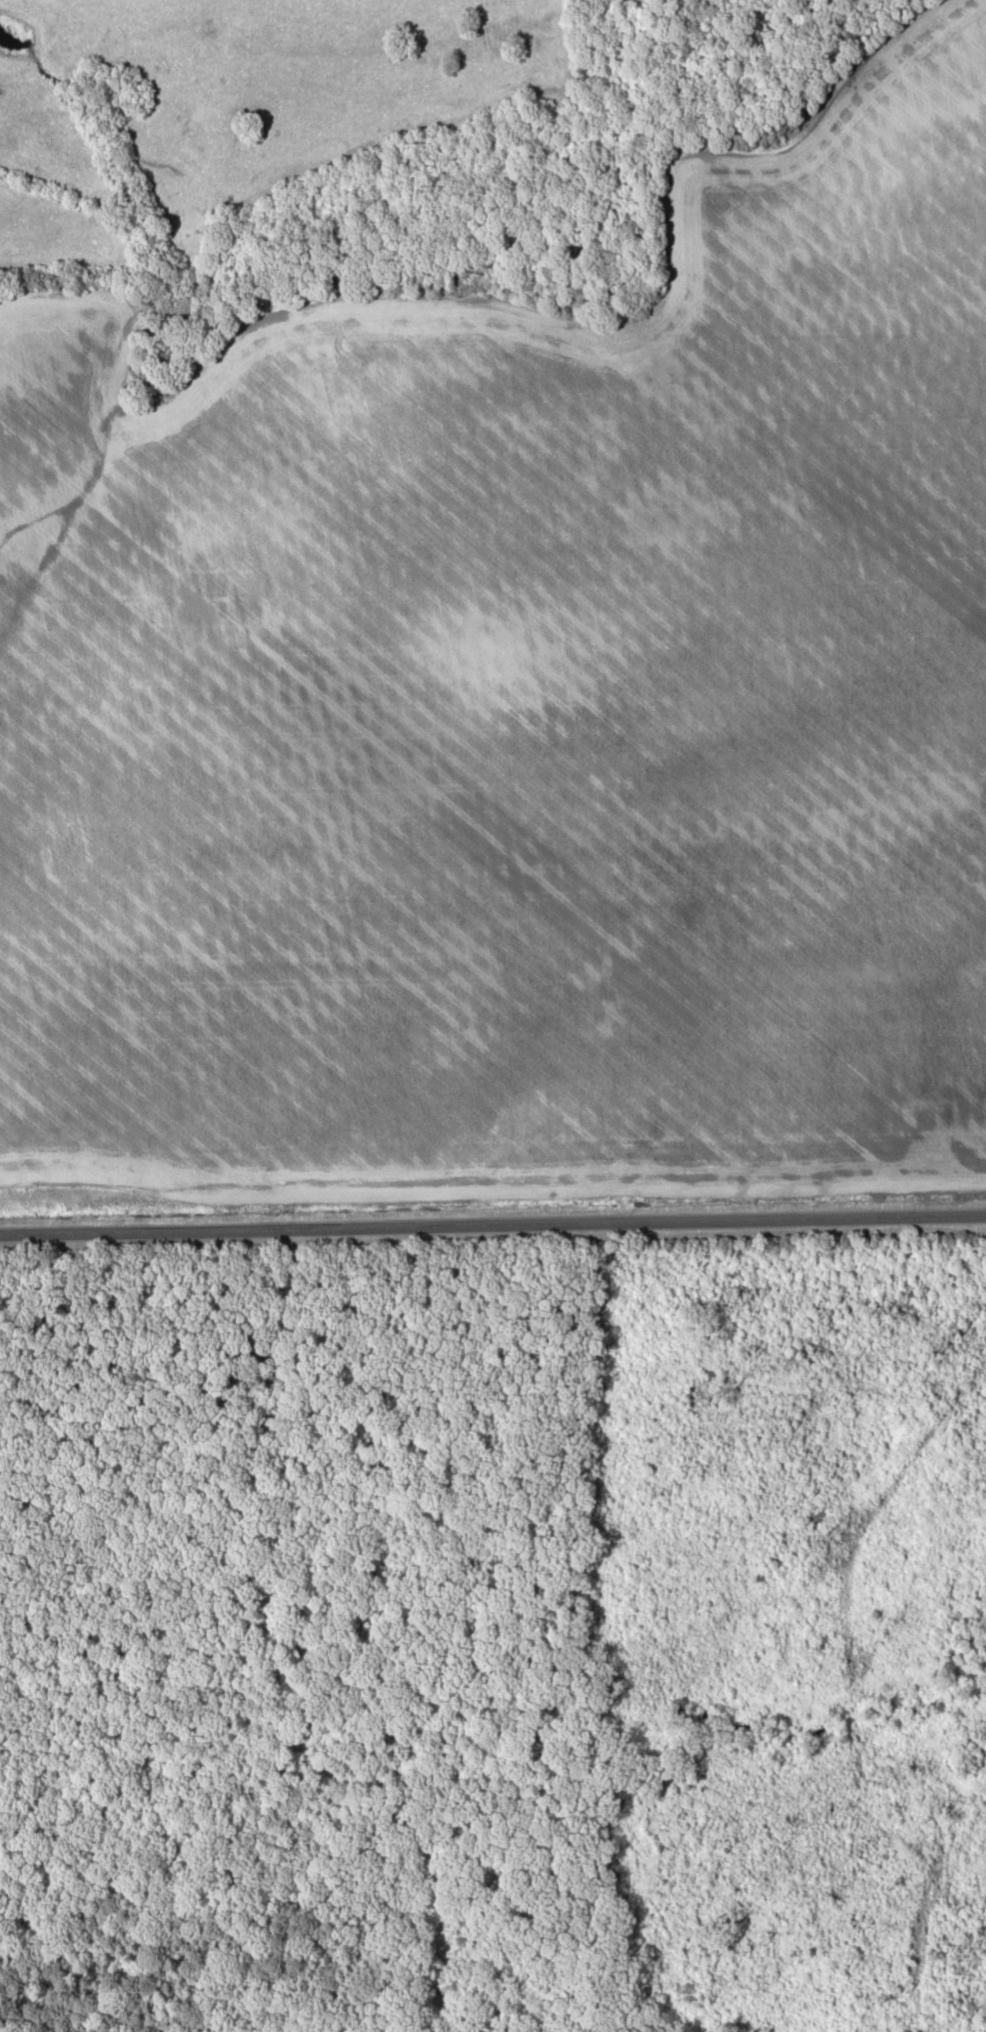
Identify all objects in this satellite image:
road: (492, 1218)

